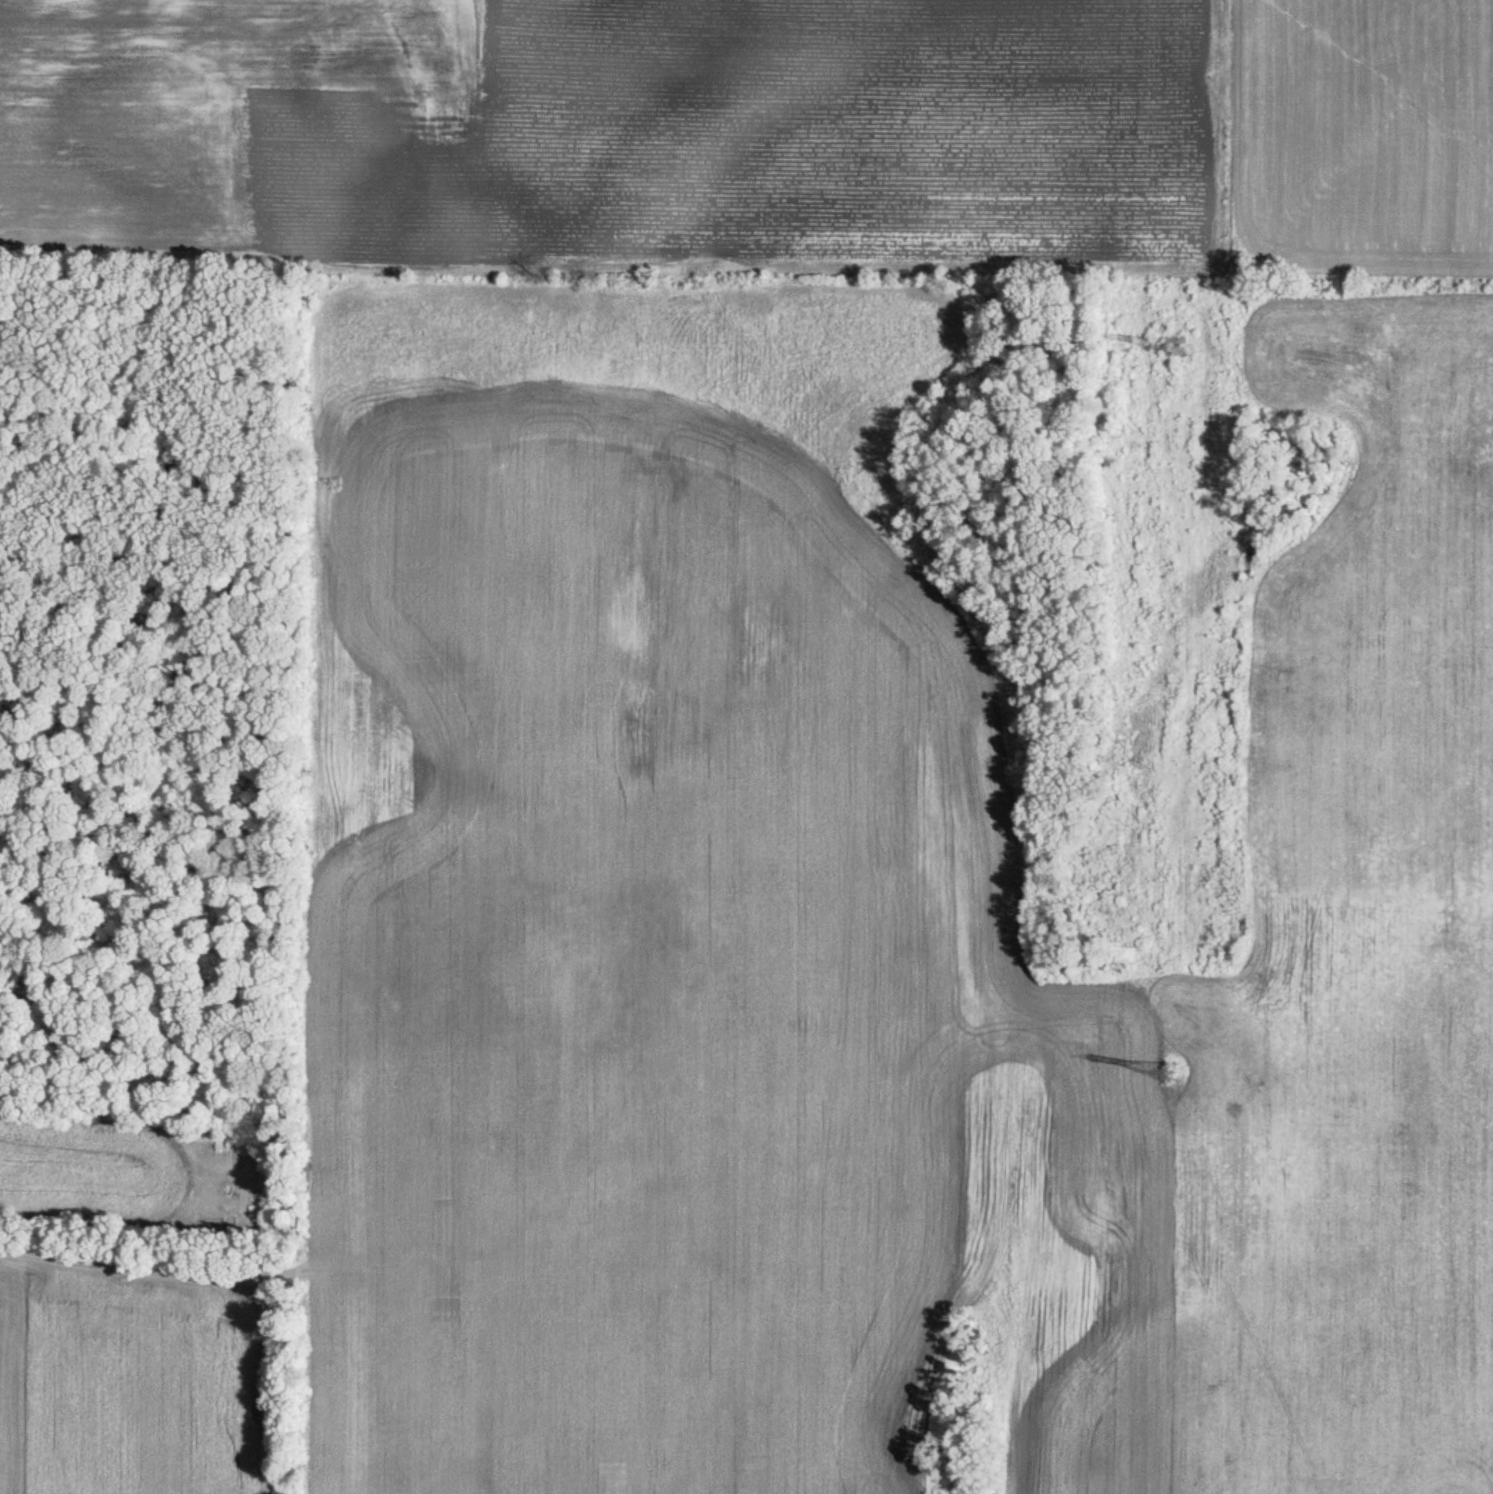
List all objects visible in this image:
power tower: (1183, 350)
power tower: (1175, 1074)

